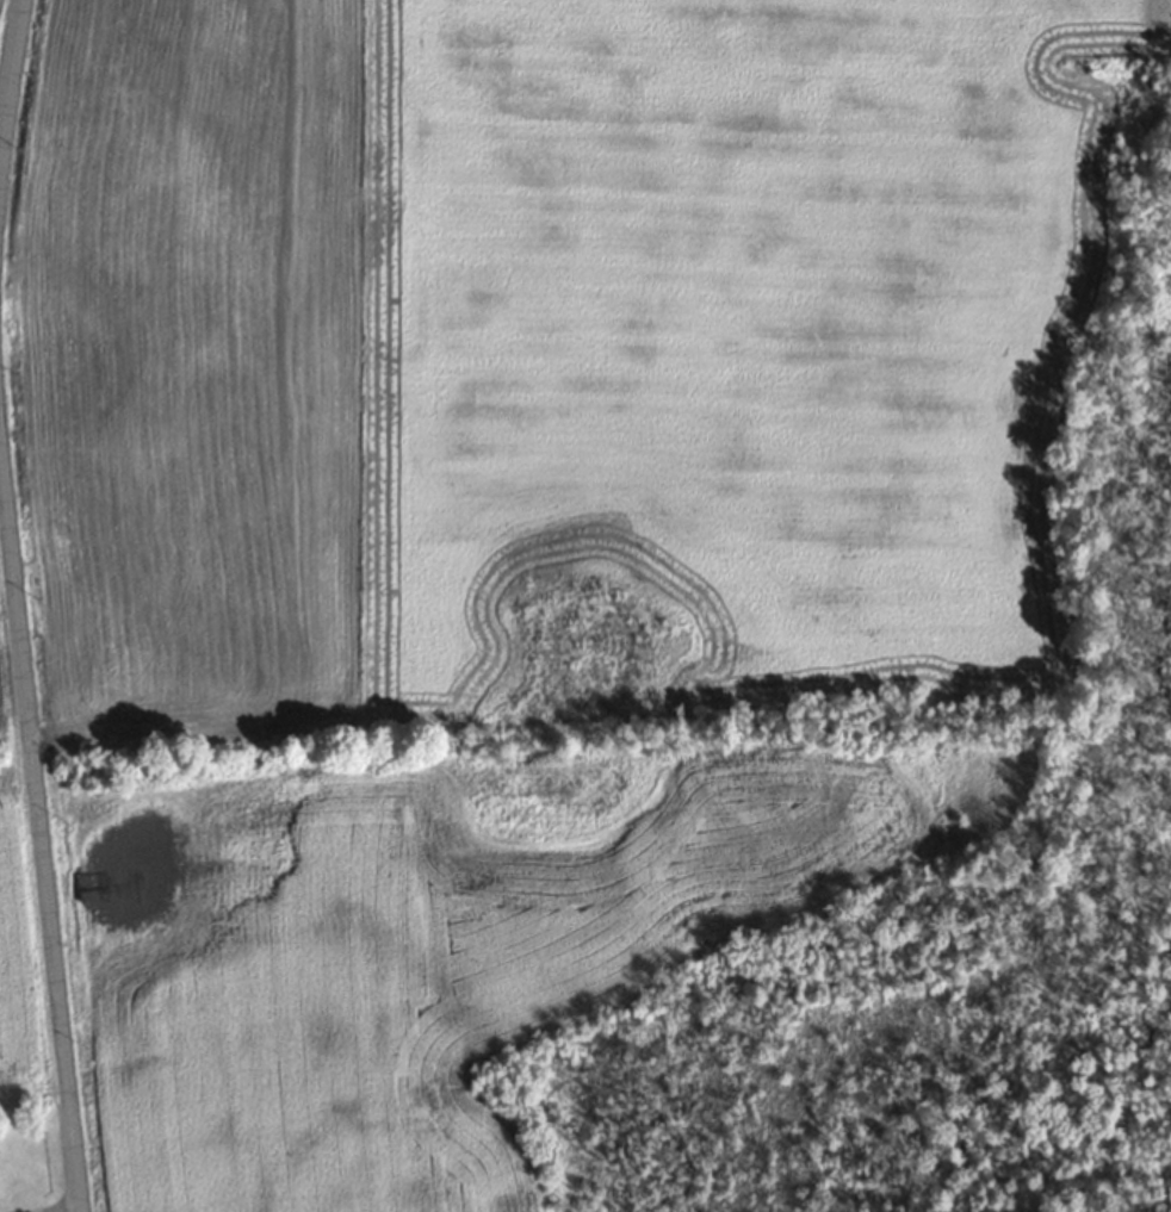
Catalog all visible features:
road: (8, 55)
road: (38, 858)

